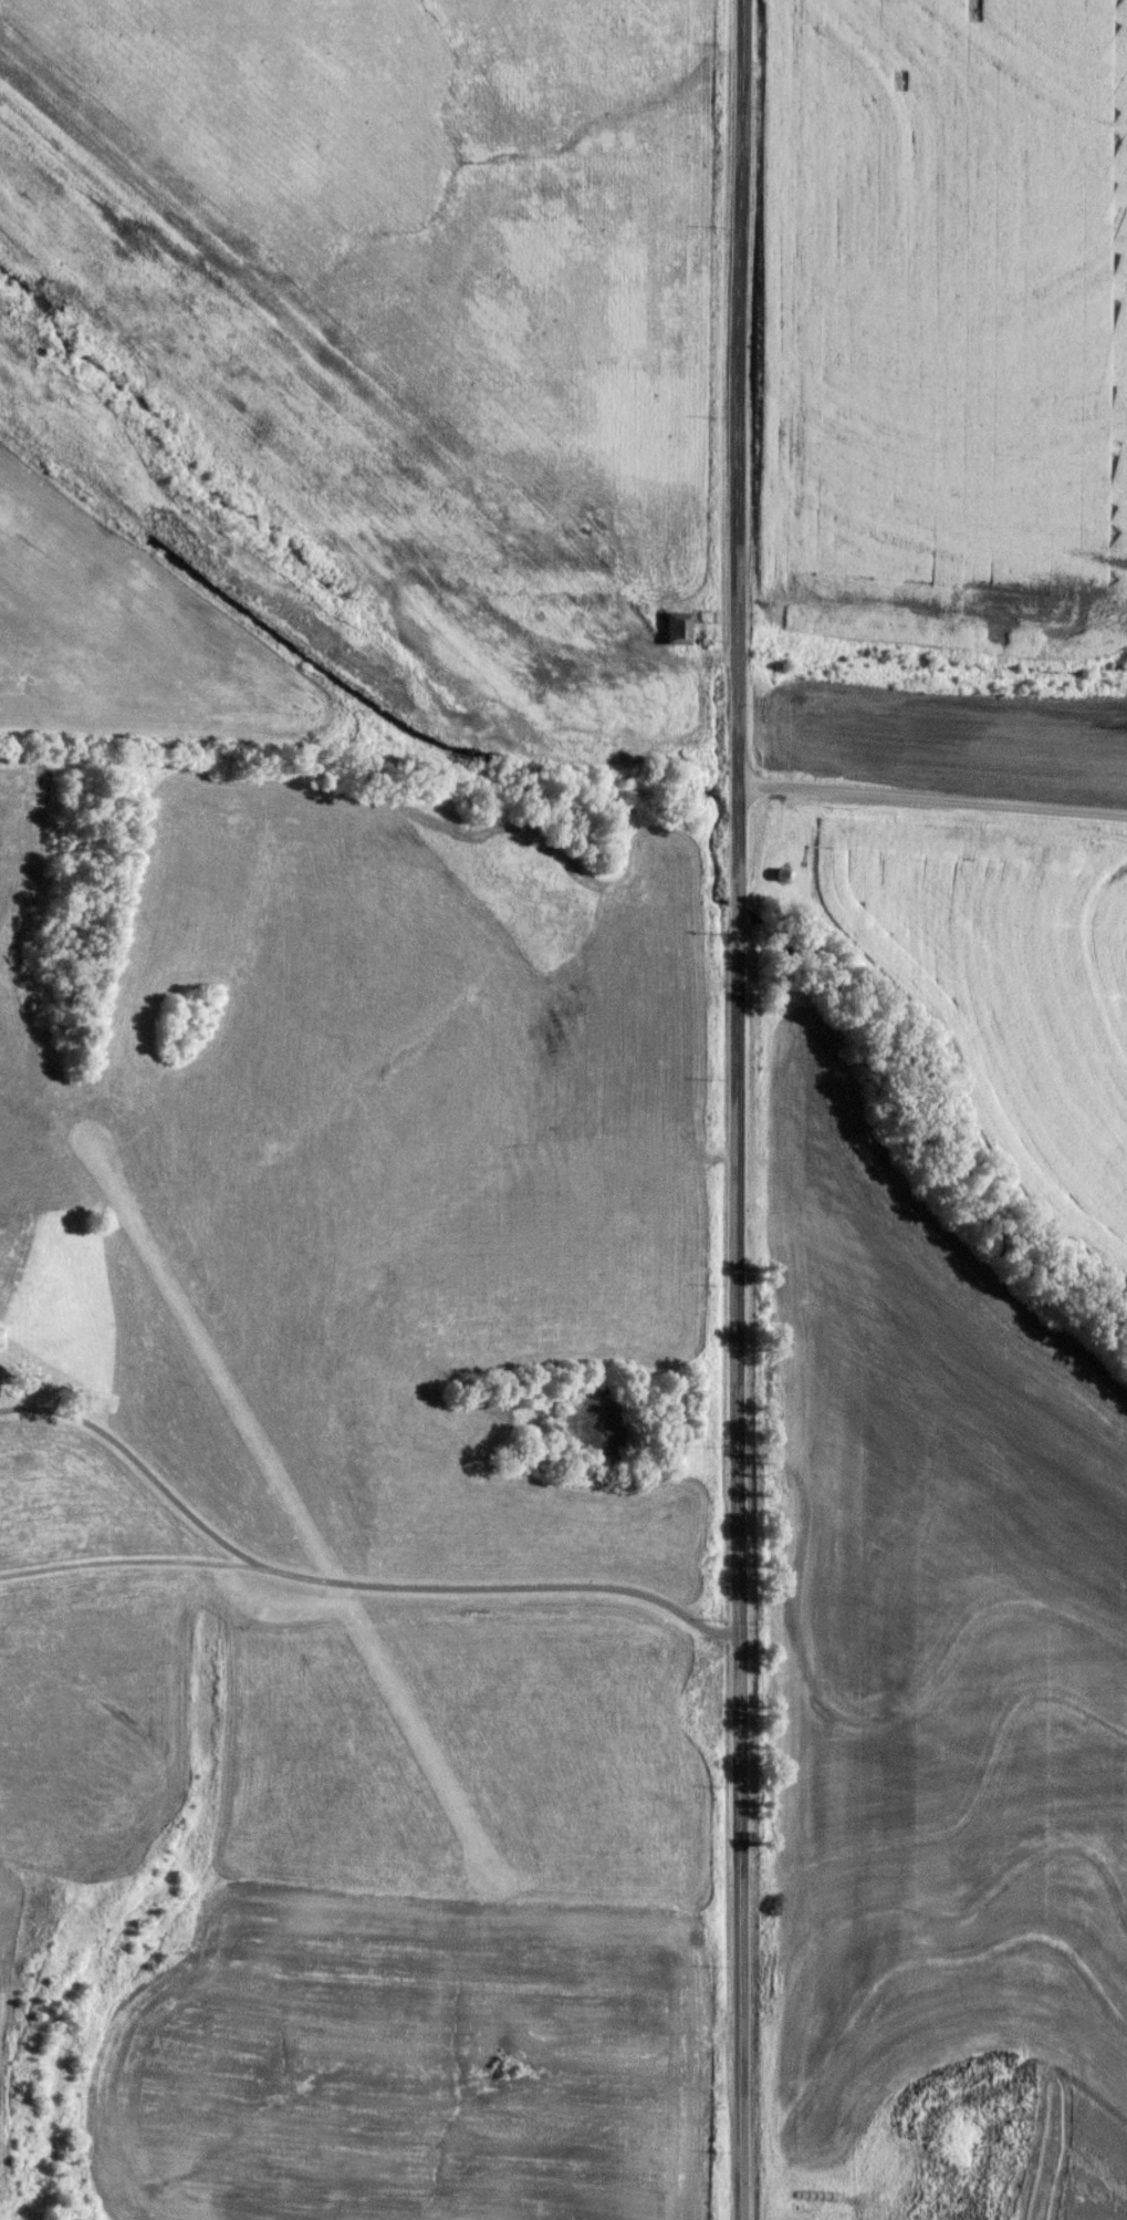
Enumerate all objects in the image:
building: (676, 627)
road: (932, 802)
building: (780, 873)
road: (743, 1109)
road: (126, 1564)
road: (348, 1589)
building: (957, 2139)

